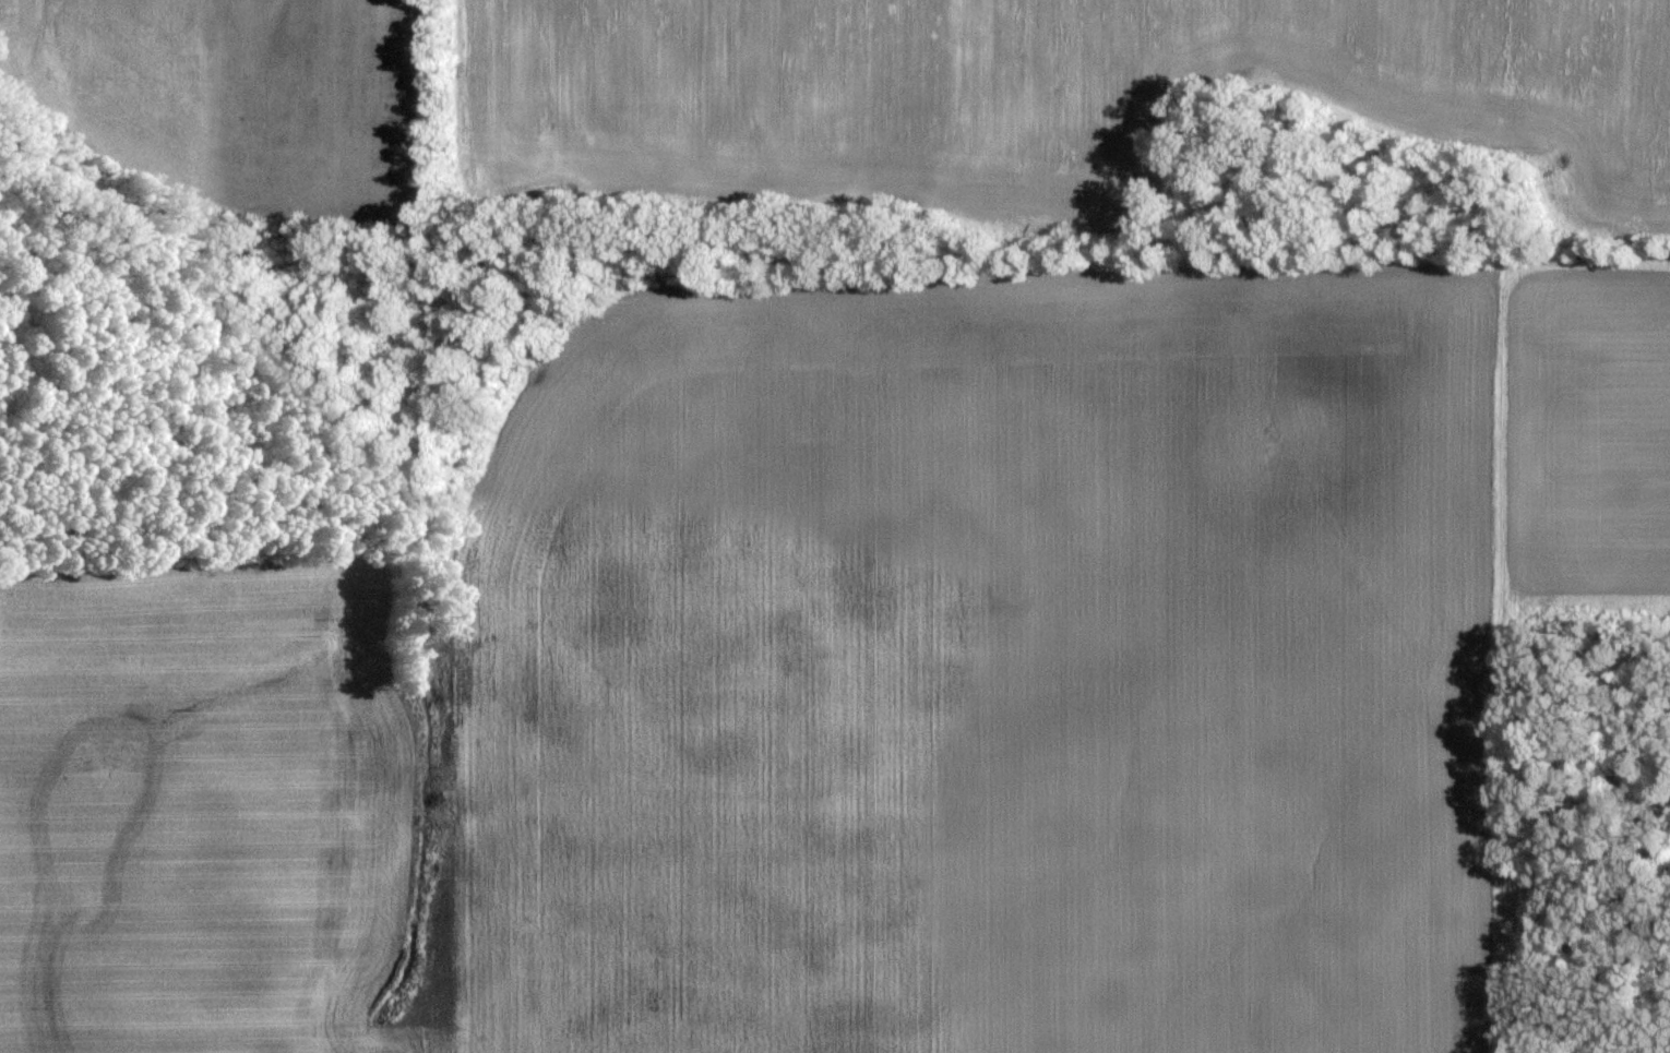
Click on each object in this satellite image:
road: (1501, 578)

